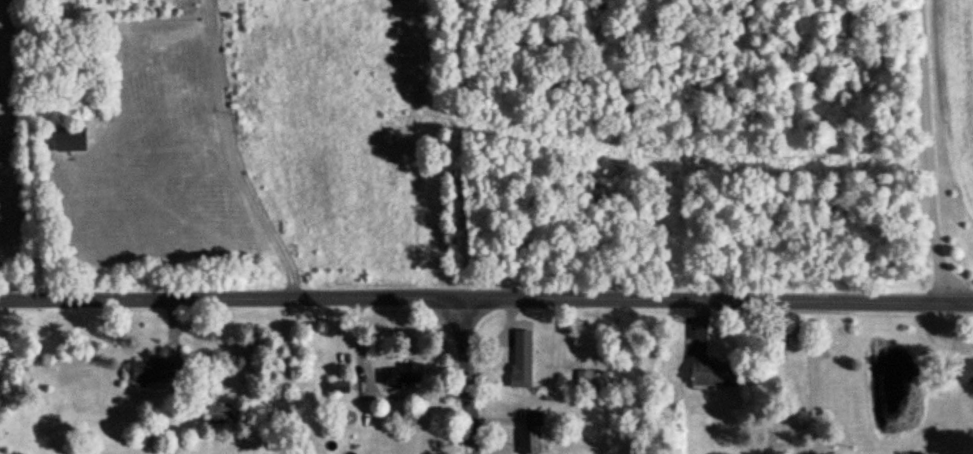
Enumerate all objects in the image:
road: (106, 6)
road: (47, 22)
crop: (959, 92)
building: (72, 139)
crop: (4, 144)
road: (927, 151)
road: (232, 154)
road: (486, 297)
road: (173, 326)
road: (701, 327)
road: (503, 335)
road: (937, 335)
building: (521, 359)
building: (156, 368)
building: (965, 369)
building: (712, 370)
building: (399, 373)
road: (469, 375)
building: (583, 376)
building: (337, 384)
road: (372, 390)
building: (547, 396)
building: (220, 411)
building: (533, 416)
road: (498, 417)
building: (531, 440)

